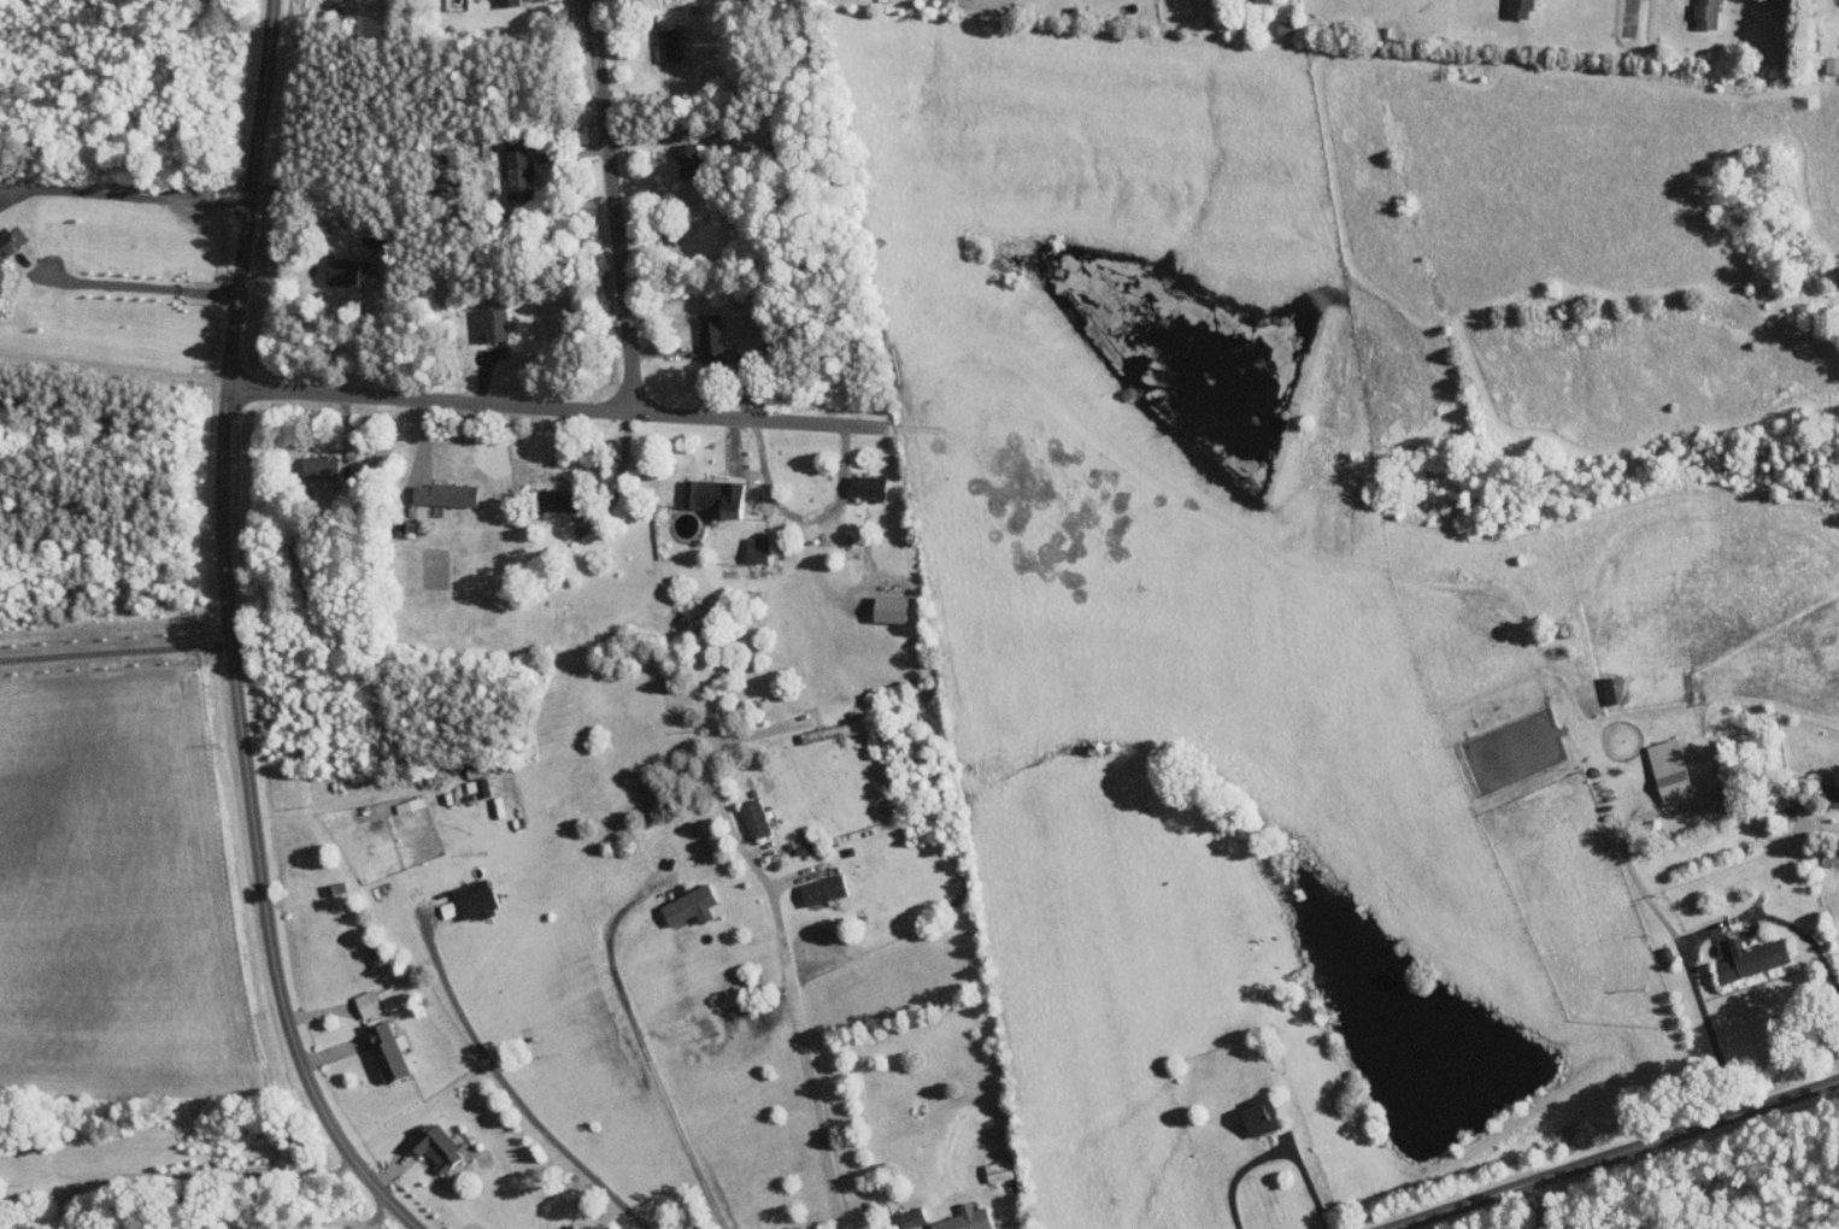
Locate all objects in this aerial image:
building: (507, 2)
building: (1520, 8)
building: (1708, 13)
road: (1631, 18)
building: (1285, 27)
building: (668, 43)
building: (1832, 64)
building: (687, 159)
building: (518, 171)
road: (130, 201)
road: (615, 206)
building: (4, 260)
building: (341, 271)
road: (146, 290)
building: (495, 323)
road: (365, 333)
building: (710, 337)
road: (559, 407)
building: (321, 466)
building: (866, 486)
building: (445, 494)
building: (713, 495)
building: (556, 500)
road: (800, 513)
building: (756, 548)
road: (231, 635)
road: (116, 654)
building: (1670, 771)
building: (477, 786)
building: (1832, 795)
road: (1651, 812)
building: (754, 818)
building: (823, 889)
building: (471, 901)
building: (689, 906)
road: (1693, 936)
road: (782, 945)
building: (1751, 959)
building: (386, 1052)
road: (645, 1052)
road: (511, 1092)
building: (1261, 1118)
building: (435, 1146)
road: (1274, 1152)
road: (1616, 1154)
road: (1020, 1205)
building: (911, 1217)
building: (964, 1219)

